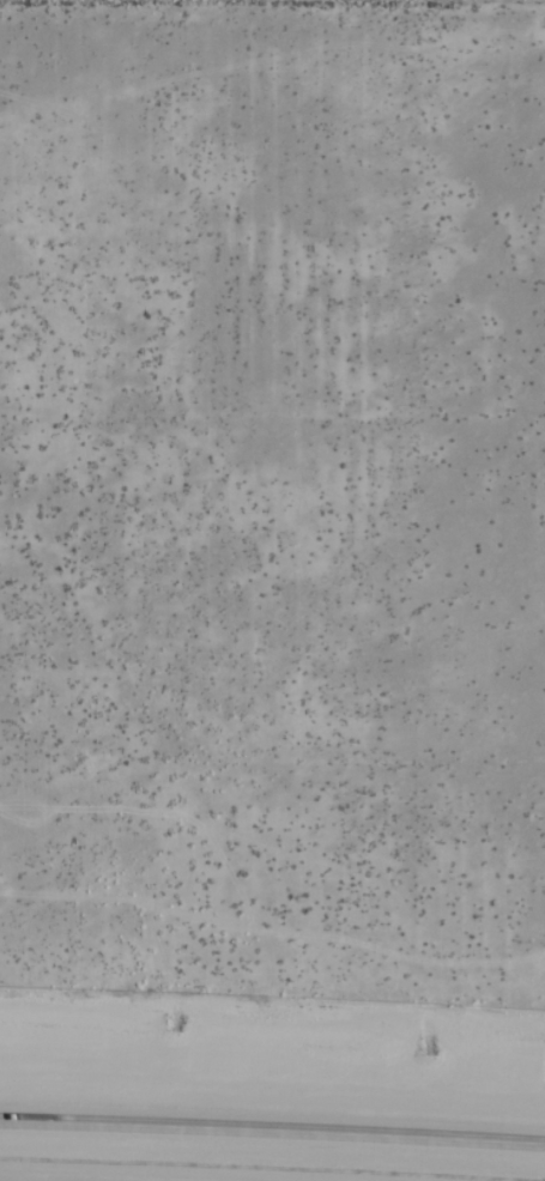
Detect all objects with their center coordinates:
road: (272, 1126)

